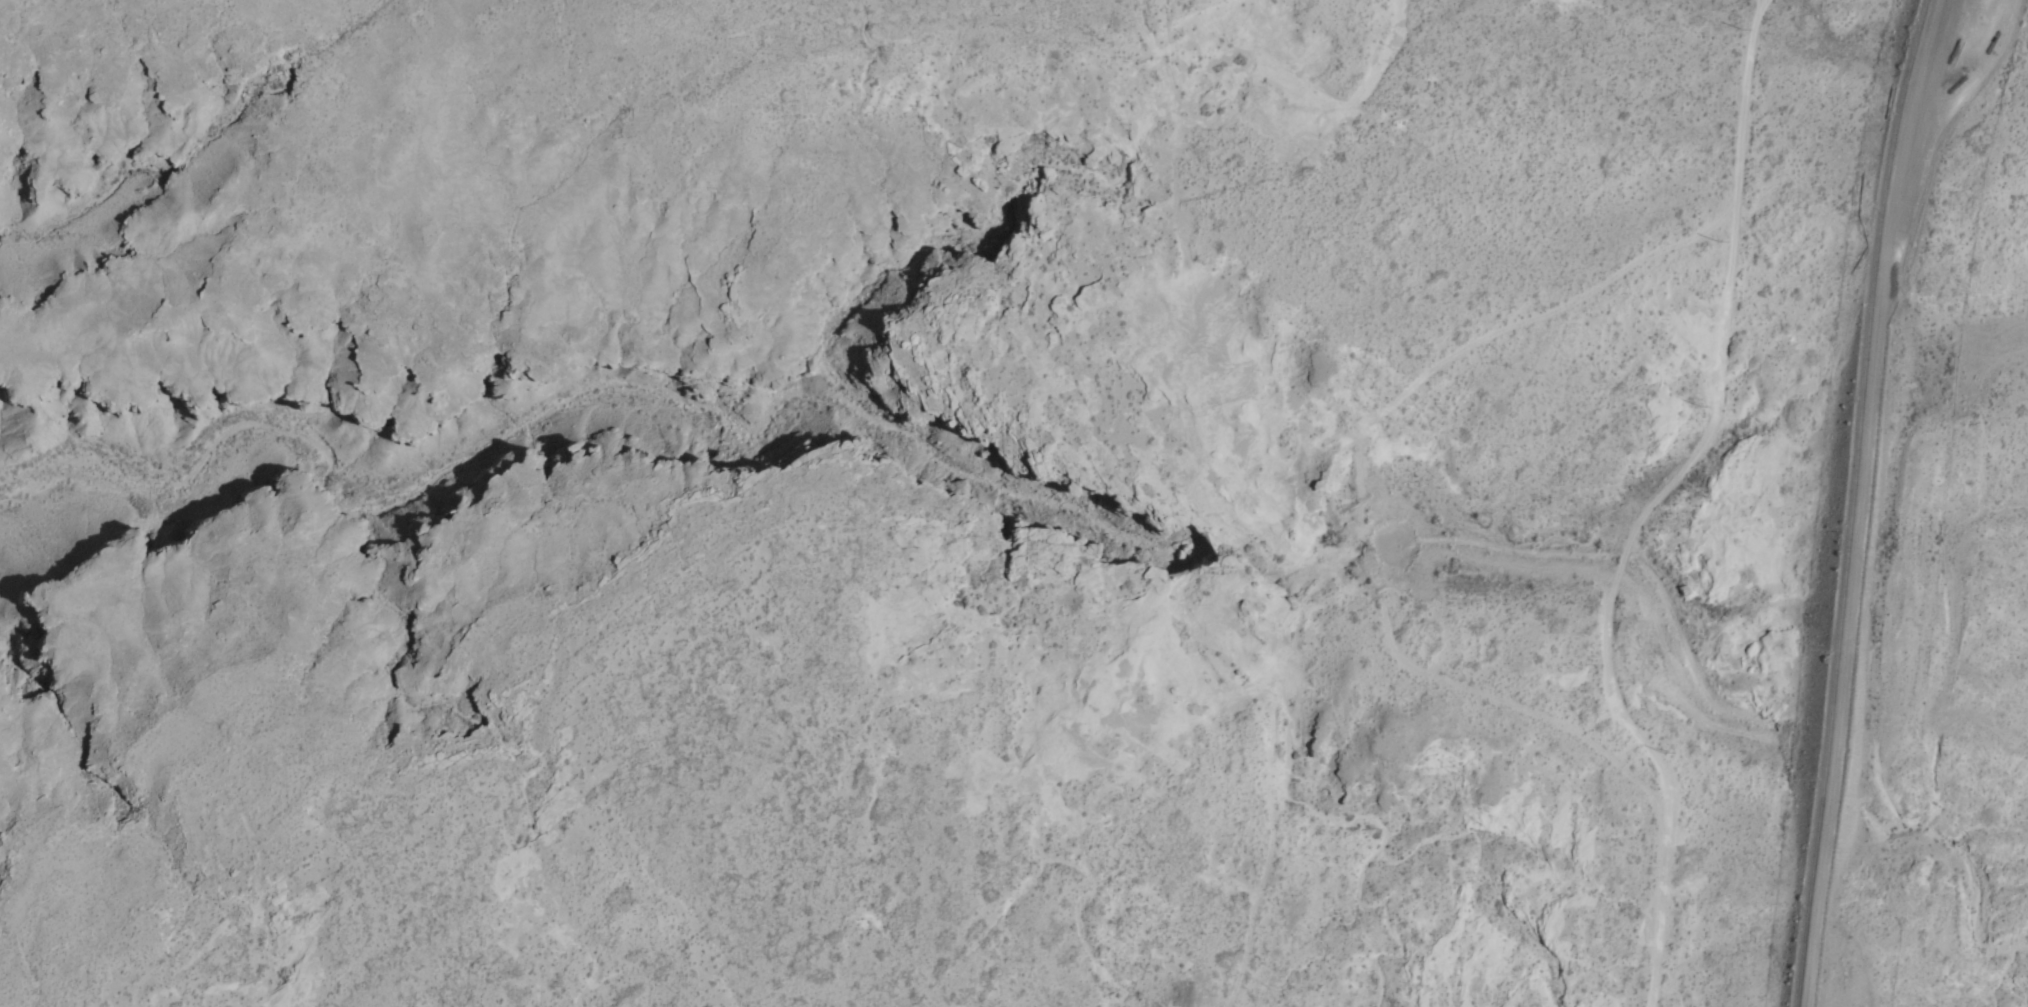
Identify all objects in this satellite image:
railway: (1857, 501)
road: (1721, 503)

